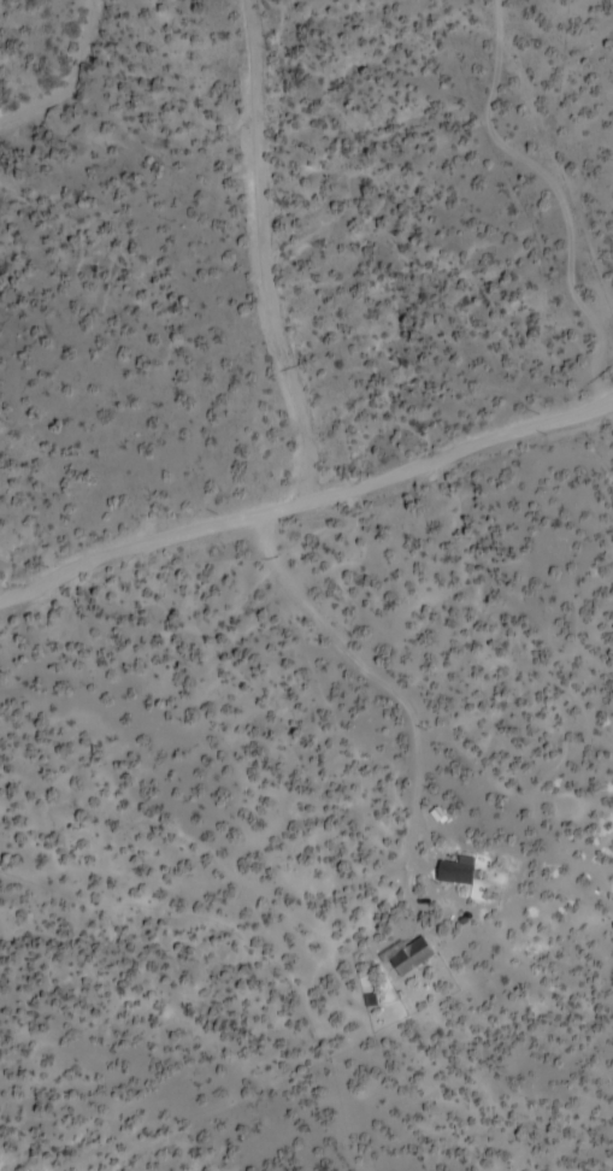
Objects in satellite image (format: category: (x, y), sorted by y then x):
road: (566, 186)
road: (267, 247)
road: (305, 492)
road: (399, 677)
building: (464, 861)
building: (471, 870)
building: (418, 946)
building: (377, 989)

